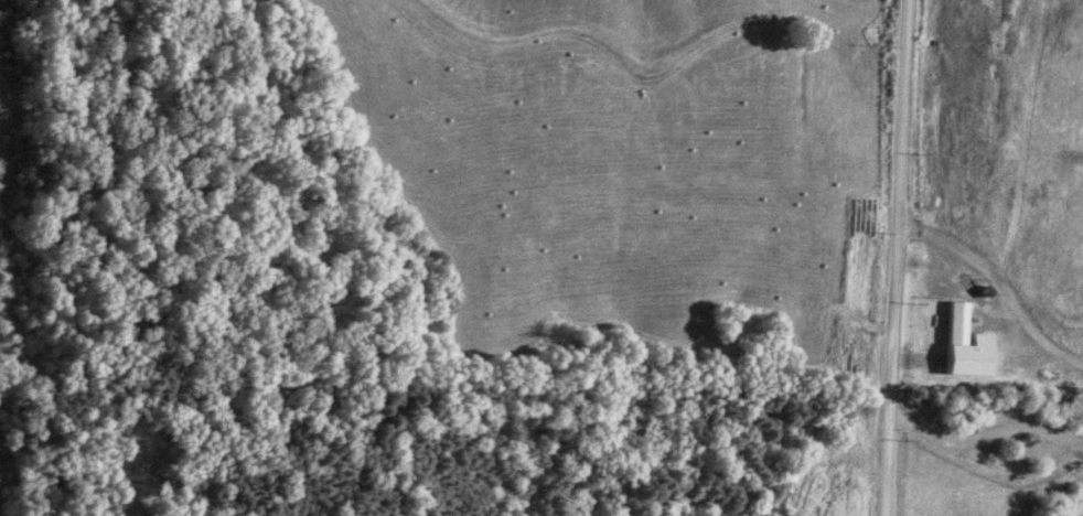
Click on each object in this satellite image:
road: (890, 257)
road: (993, 284)
building: (958, 345)
road: (984, 436)

